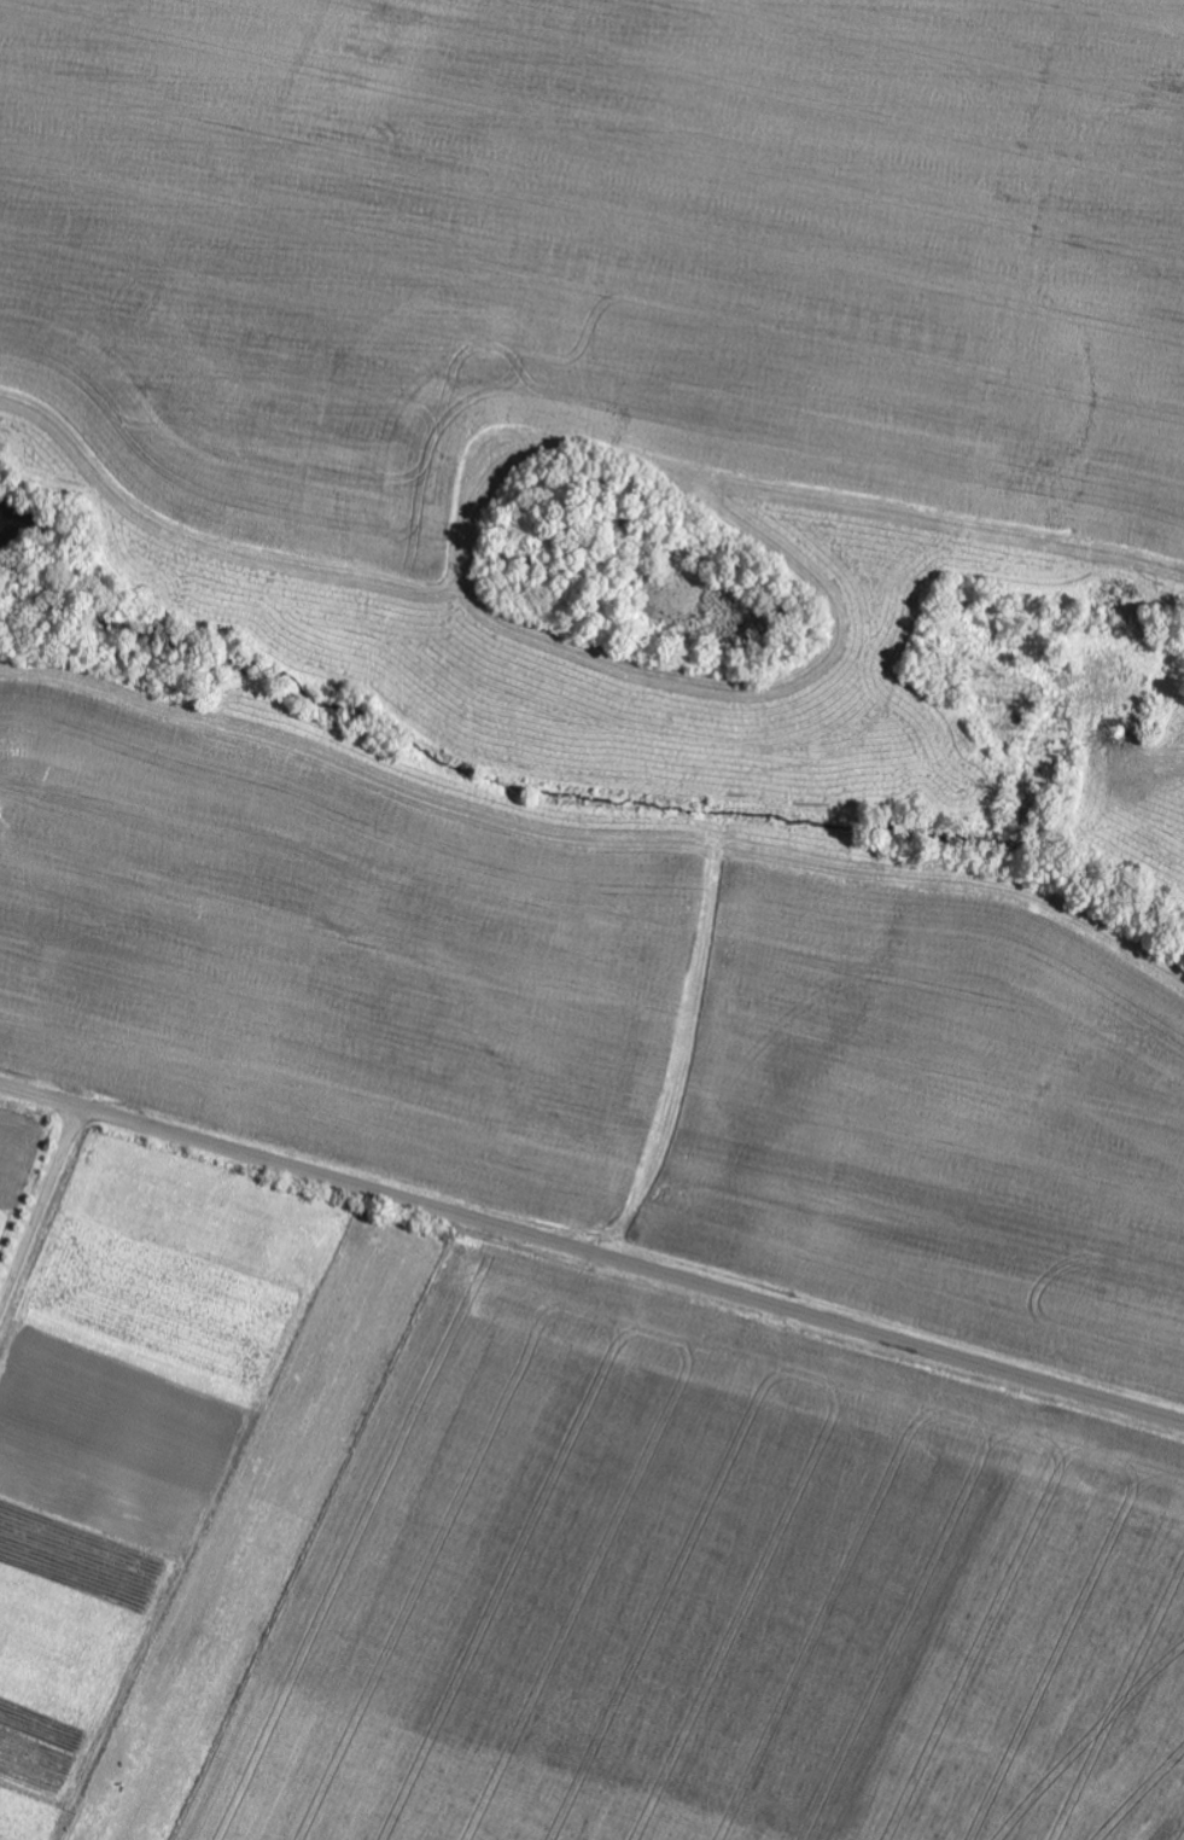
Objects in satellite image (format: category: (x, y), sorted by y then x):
road: (40, 1210)
road: (591, 1253)

